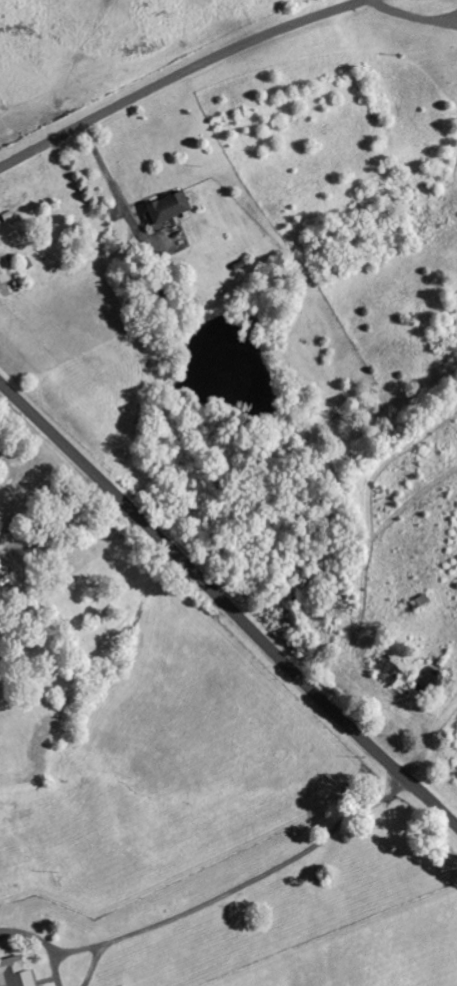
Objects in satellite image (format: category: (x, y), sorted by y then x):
road: (178, 77)
building: (170, 208)
building: (4, 576)
road: (227, 604)
building: (16, 972)

